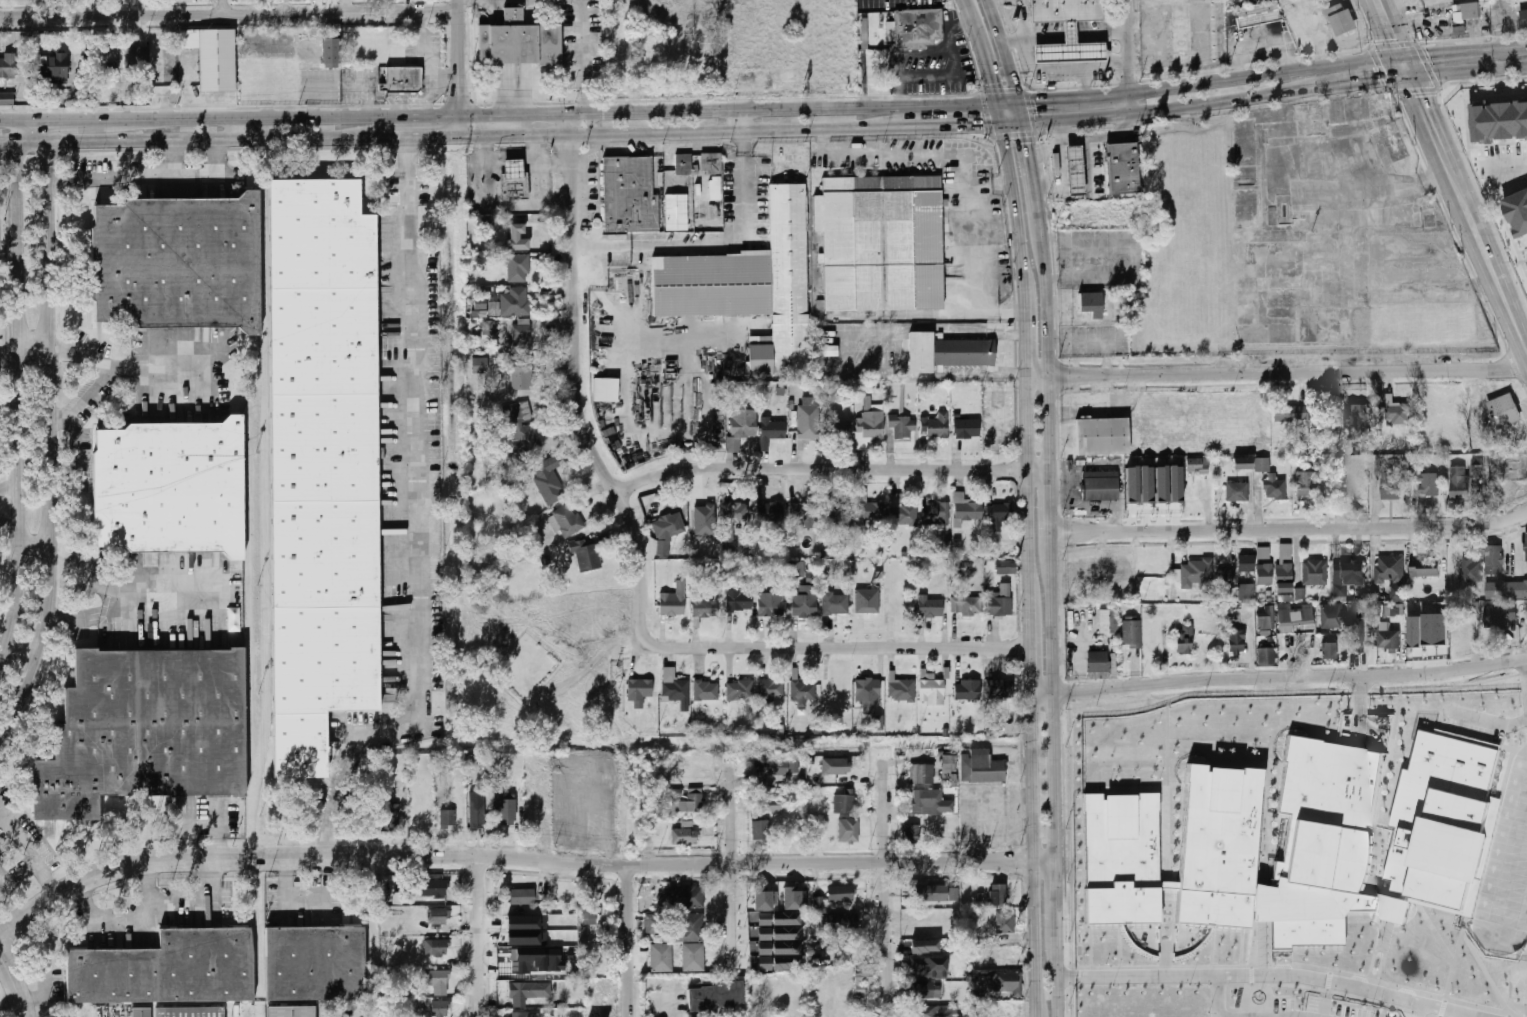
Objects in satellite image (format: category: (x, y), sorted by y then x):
road: (993, 0)
road: (226, 7)
building: (1467, 9)
building: (1066, 10)
road: (229, 14)
building: (1258, 14)
road: (1023, 18)
building: (1342, 18)
building: (919, 27)
road: (1391, 27)
road: (1109, 34)
road: (1093, 36)
road: (1071, 37)
road: (1043, 38)
traffic signals: (1396, 38)
building: (517, 42)
road: (1514, 45)
building: (1070, 47)
gas station: (1070, 47)
road: (1005, 49)
building: (330, 50)
road: (1452, 50)
building: (105, 52)
traffic signals: (1432, 52)
building: (135, 54)
road: (901, 55)
building: (210, 56)
road: (1132, 56)
road: (989, 62)
road: (1106, 63)
building: (6, 66)
road: (955, 66)
road: (1408, 66)
building: (57, 68)
road: (460, 69)
road: (1043, 69)
road: (1470, 71)
road: (1267, 72)
building: (399, 78)
traffic signals: (995, 81)
traffic signals: (1381, 81)
road: (1354, 84)
traffic signals: (1421, 95)
road: (1074, 96)
traffic signals: (460, 97)
building: (6, 99)
traffic signals: (1039, 99)
traffic signals: (515, 100)
road: (1009, 102)
road: (515, 103)
road: (1160, 109)
road: (1021, 113)
traffic signals: (601, 114)
road: (574, 115)
road: (80, 120)
road: (741, 120)
road: (6, 121)
building: (1499, 121)
road: (1434, 125)
road: (1014, 126)
road: (944, 127)
traffic signals: (985, 127)
road: (237, 130)
road: (672, 133)
traffic signals: (437, 139)
road: (406, 140)
road: (182, 141)
road: (6, 143)
traffic signals: (1028, 143)
road: (827, 150)
traffic signals: (572, 152)
road: (1031, 156)
road: (175, 158)
road: (1505, 163)
building: (711, 164)
building: (683, 165)
gas station: (510, 166)
building: (1122, 168)
building: (1074, 170)
gas station: (1074, 170)
road: (148, 175)
building: (512, 186)
building: (715, 188)
building: (631, 196)
road: (968, 203)
road: (511, 205)
building: (1518, 212)
building: (676, 213)
road: (1042, 218)
road: (1022, 220)
building: (486, 227)
building: (517, 238)
road: (722, 241)
building: (881, 243)
road: (586, 245)
road: (1491, 261)
building: (183, 262)
building: (517, 266)
building: (750, 286)
building: (515, 302)
building: (1094, 303)
building: (485, 308)
road: (620, 323)
building: (489, 328)
building: (521, 338)
road: (1028, 348)
building: (947, 353)
road: (34, 356)
road: (1052, 358)
road: (9, 362)
building: (479, 365)
road: (158, 366)
road: (1276, 373)
building: (521, 375)
road: (102, 379)
road: (576, 386)
building: (606, 391)
road: (19, 394)
building: (1504, 410)
building: (1290, 413)
building: (1398, 413)
building: (807, 418)
building: (1357, 419)
building: (903, 425)
building: (871, 426)
building: (937, 426)
building: (742, 427)
building: (522, 428)
building: (967, 428)
building: (771, 431)
building: (841, 432)
road: (49, 436)
building: (1102, 436)
building: (322, 464)
building: (1197, 466)
building: (1507, 467)
road: (834, 469)
building: (1476, 470)
building: (1270, 476)
building: (1422, 478)
building: (549, 480)
building: (1459, 482)
building: (1307, 483)
building: (1132, 484)
building: (1146, 484)
building: (1161, 484)
building: (1175, 484)
building: (1101, 486)
building: (171, 487)
building: (1391, 489)
road: (10, 490)
building: (1237, 492)
road: (1052, 498)
road: (1028, 499)
building: (967, 509)
building: (902, 510)
railway: (268, 511)
building: (770, 512)
building: (870, 512)
building: (805, 513)
building: (936, 514)
building: (999, 515)
building: (733, 518)
building: (838, 518)
building: (703, 519)
road: (420, 520)
building: (568, 520)
road: (10, 521)
road: (1290, 530)
building: (667, 531)
building: (957, 542)
building: (947, 545)
building: (1526, 545)
road: (35, 552)
building: (825, 553)
building: (1264, 553)
building: (881, 554)
building: (586, 555)
building: (1494, 560)
building: (855, 563)
building: (1246, 563)
building: (1472, 566)
building: (1425, 567)
building: (1006, 568)
building: (1103, 568)
building: (797, 569)
building: (1284, 569)
building: (1390, 569)
building: (1315, 573)
building: (879, 574)
building: (1265, 574)
building: (1195, 575)
building: (1347, 577)
building: (1226, 579)
building: (1506, 589)
building: (1395, 591)
building: (1246, 592)
building: (1299, 593)
road: (139, 596)
building: (674, 600)
building: (1000, 600)
building: (736, 601)
building: (866, 601)
building: (805, 602)
building: (836, 603)
building: (771, 604)
building: (966, 606)
building: (930, 607)
building: (705, 608)
building: (1389, 610)
building: (1294, 614)
building: (1332, 615)
building: (1499, 615)
road: (64, 618)
building: (1266, 619)
building: (1107, 621)
building: (1435, 628)
building: (1131, 631)
building: (1415, 631)
building: (1355, 632)
building: (1389, 638)
building: (1462, 638)
building: (1184, 639)
building: (1237, 640)
road: (838, 648)
building: (1132, 648)
building: (1265, 648)
building: (1329, 650)
road: (1030, 655)
building: (1097, 661)
road: (1279, 679)
building: (675, 688)
building: (901, 688)
building: (640, 689)
building: (740, 690)
building: (771, 690)
building: (967, 690)
building: (1001, 690)
building: (706, 691)
building: (932, 692)
building: (803, 693)
road: (1053, 693)
building: (867, 694)
railway: (250, 718)
building: (877, 723)
building: (144, 729)
road: (1493, 731)
building: (1466, 737)
building: (835, 766)
building: (947, 766)
building: (778, 767)
building: (981, 767)
building: (919, 775)
building: (675, 793)
building: (689, 802)
building: (934, 802)
building: (845, 804)
building: (776, 805)
building: (419, 813)
building: (508, 813)
building: (478, 814)
building: (390, 817)
building: (448, 818)
road: (216, 828)
building: (760, 831)
building: (848, 831)
building: (911, 833)
building: (684, 837)
building: (1294, 841)
road: (29, 851)
road: (323, 855)
road: (1034, 855)
building: (1482, 855)
road: (124, 861)
road: (717, 861)
road: (733, 868)
road: (1495, 879)
road: (4, 886)
road: (629, 886)
road: (887, 887)
building: (433, 888)
road: (195, 892)
building: (936, 893)
road: (1057, 893)
building: (841, 894)
building: (996, 895)
road: (283, 896)
building: (522, 896)
building: (686, 897)
building: (764, 899)
building: (793, 899)
building: (590, 912)
road: (126, 917)
building: (438, 917)
building: (775, 919)
building: (525, 922)
building: (1005, 922)
building: (839, 923)
building: (689, 928)
building: (775, 933)
road: (482, 935)
building: (527, 938)
building: (1261, 944)
building: (924, 946)
building: (435, 947)
building: (693, 957)
building: (661, 958)
building: (536, 960)
building: (317, 966)
building: (929, 967)
building: (167, 971)
road: (1058, 973)
building: (863, 976)
road: (1267, 977)
road: (16, 981)
building: (436, 981)
building: (1007, 982)
building: (927, 991)
building: (528, 992)
flagpole: (1258, 996)
building: (716, 997)
road: (1219, 997)
building: (440, 1009)
road: (14, 1010)
building: (293, 1010)
building: (935, 1011)
building: (140, 1012)
building: (189, 1012)
building: (527, 1015)

